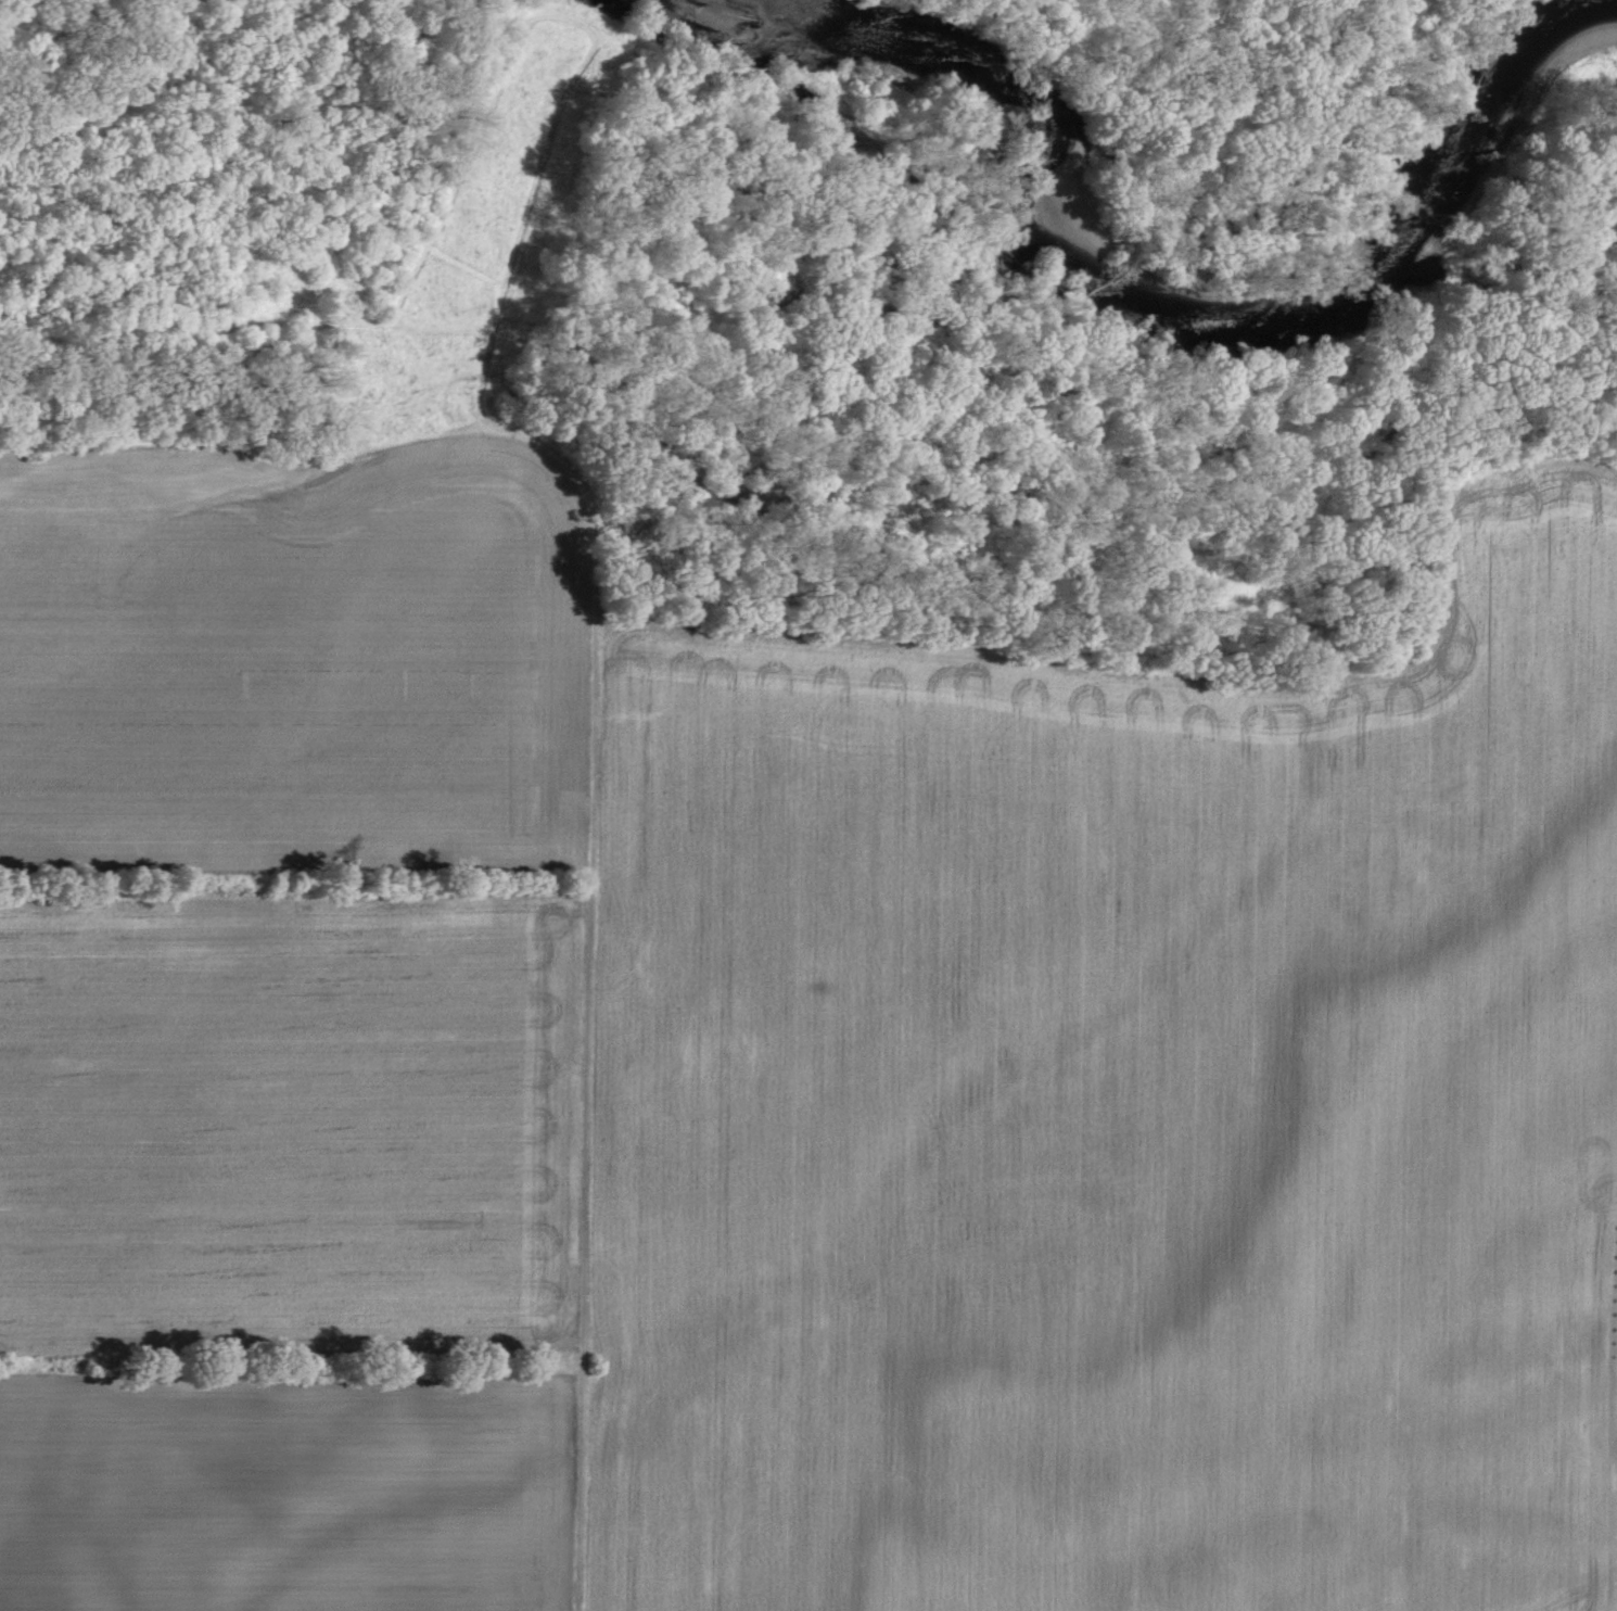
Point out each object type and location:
river: (1169, 293)

